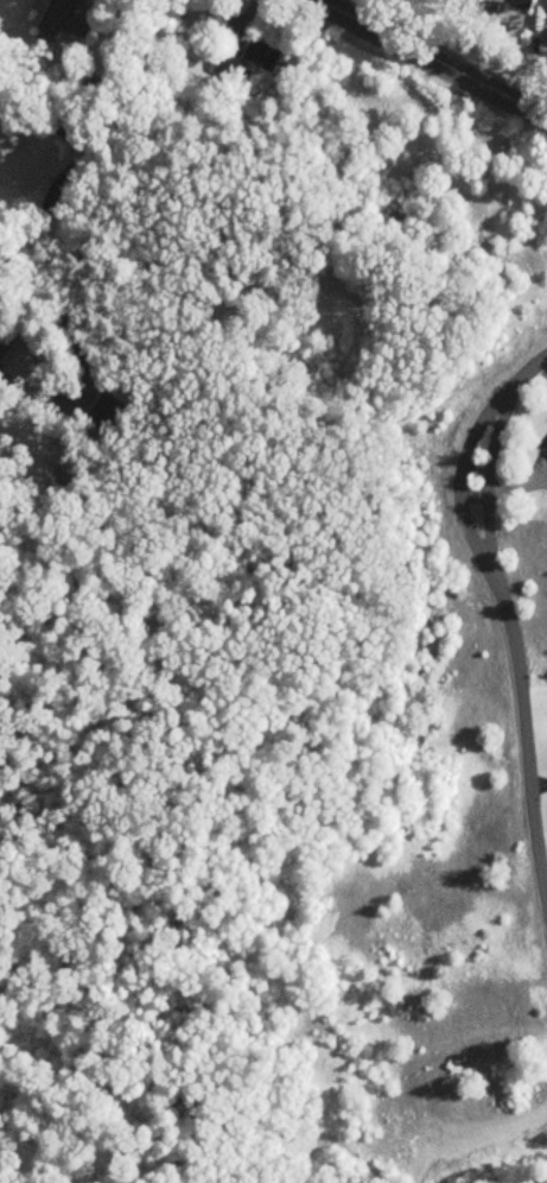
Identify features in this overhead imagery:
road: (335, 5)
building: (503, 5)
building: (65, 21)
road: (431, 59)
building: (252, 61)
road: (50, 126)
road: (75, 167)
building: (6, 344)
road: (508, 620)

